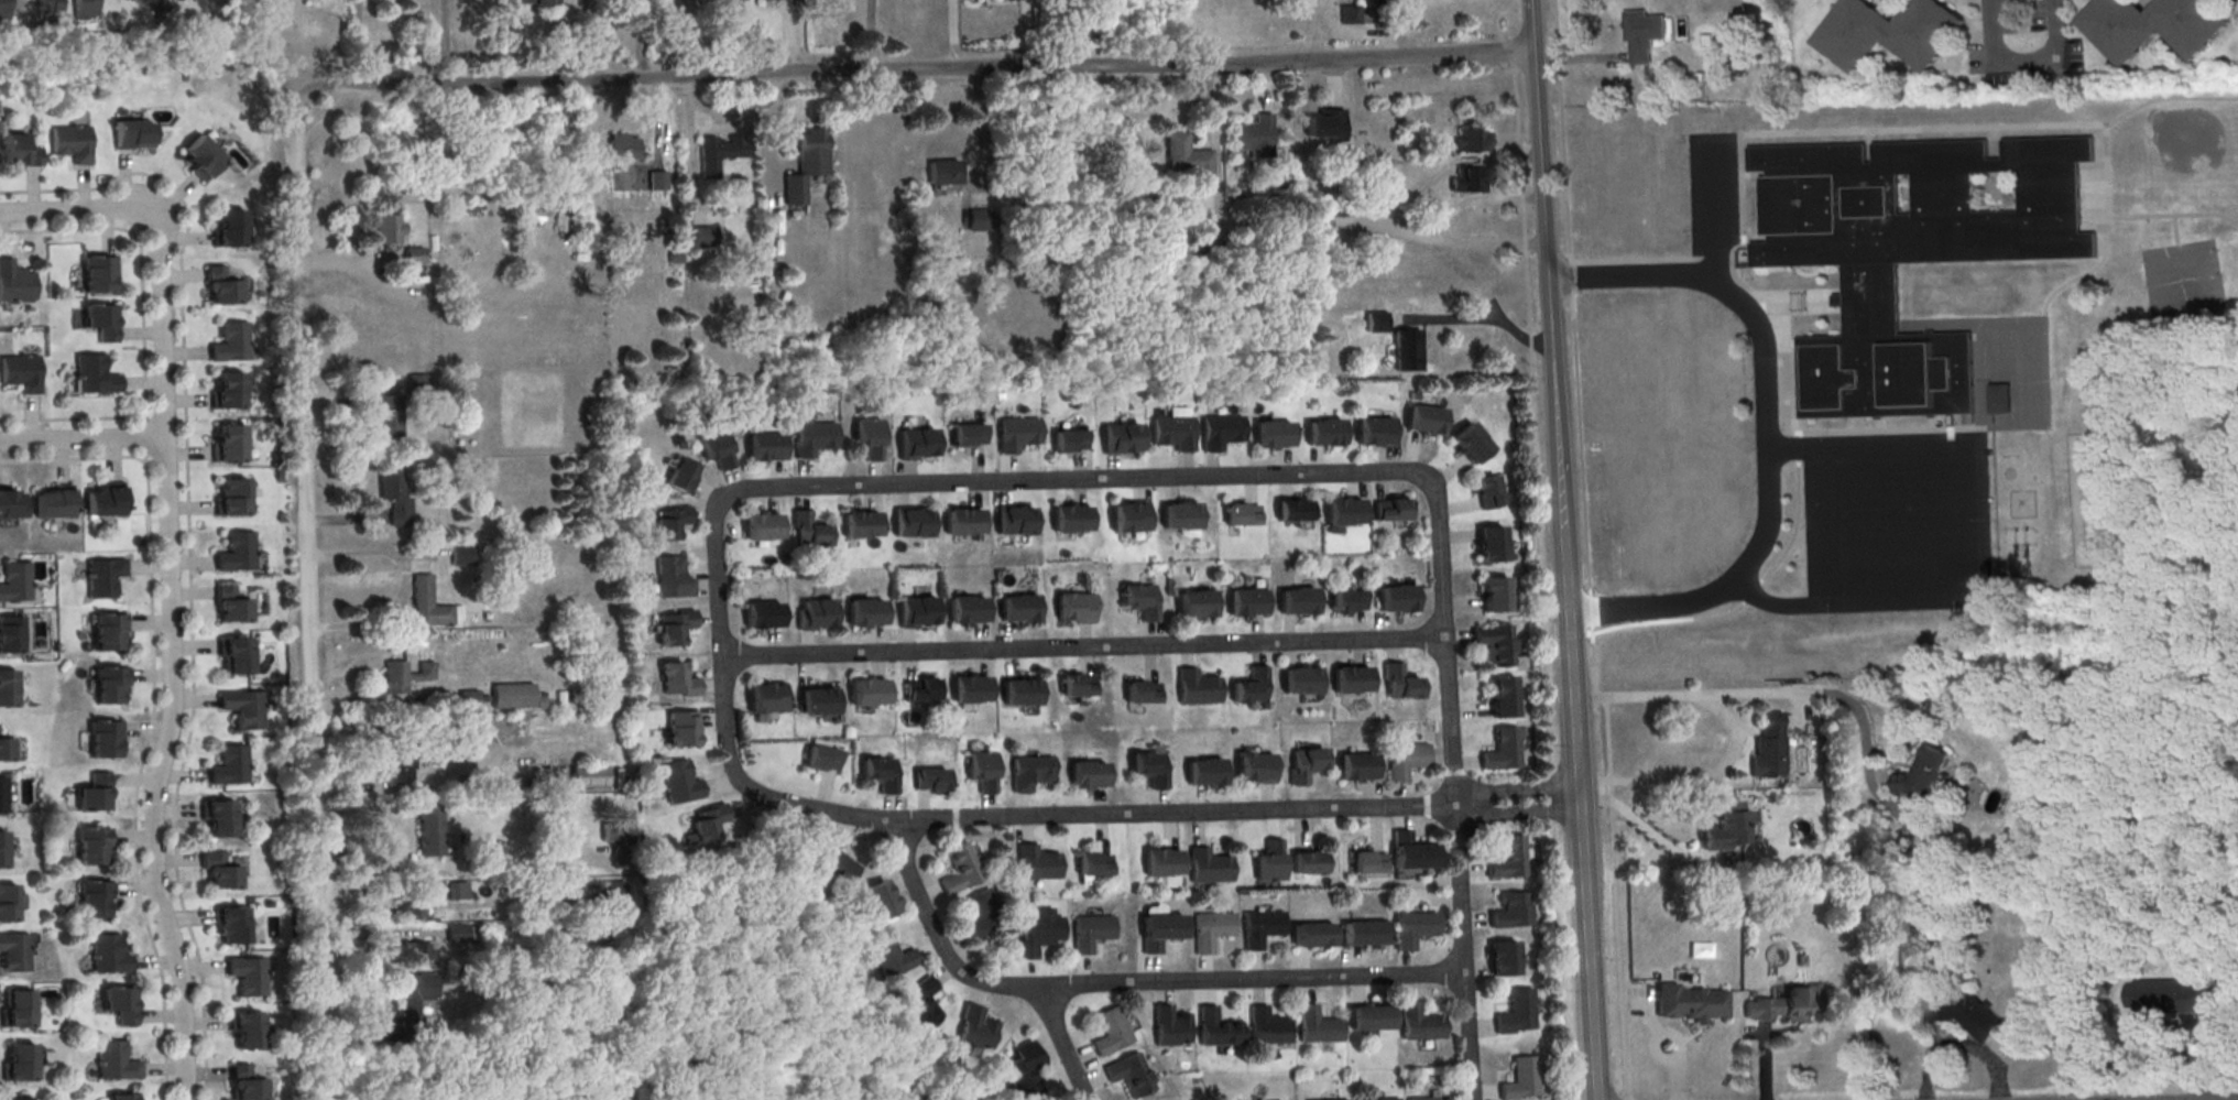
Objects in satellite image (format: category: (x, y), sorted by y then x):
building: (122, 0)
building: (766, 0)
building: (1005, 0)
building: (178, 1)
building: (531, 3)
building: (151, 8)
building: (3, 9)
building: (85, 9)
building: (50, 10)
building: (1350, 15)
building: (2150, 26)
road: (951, 34)
road: (1028, 34)
building: (1888, 34)
road: (788, 35)
road: (870, 35)
building: (1644, 35)
road: (585, 40)
road: (445, 43)
road: (358, 44)
road: (1583, 59)
road: (2022, 65)
road: (916, 68)
road: (2144, 102)
road: (656, 124)
building: (1325, 127)
building: (130, 137)
building: (1253, 138)
road: (976, 140)
building: (1472, 142)
building: (69, 144)
building: (621, 148)
building: (19, 151)
road: (688, 152)
building: (718, 154)
building: (200, 156)
building: (1187, 160)
building: (805, 164)
building: (942, 174)
building: (655, 182)
building: (1469, 183)
road: (1740, 188)
road: (69, 208)
building: (978, 221)
road: (1440, 226)
building: (229, 228)
building: (386, 230)
road: (2109, 237)
building: (701, 238)
building: (1208, 244)
building: (1909, 254)
road: (139, 255)
building: (413, 258)
road: (349, 261)
building: (98, 273)
building: (15, 282)
road: (1724, 286)
building: (219, 288)
building: (100, 320)
road: (1471, 320)
building: (1375, 324)
building: (230, 341)
building: (1406, 352)
building: (20, 371)
building: (94, 374)
building: (416, 386)
building: (227, 390)
road: (1577, 393)
building: (2005, 402)
road: (338, 403)
road: (143, 416)
road: (69, 417)
building: (389, 418)
building: (1423, 422)
building: (1221, 433)
building: (1374, 433)
building: (1172, 434)
road: (164, 435)
building: (1016, 435)
building: (1323, 435)
building: (1271, 436)
building: (967, 437)
road: (1798, 438)
road: (83, 439)
building: (812, 439)
building: (867, 440)
building: (1120, 442)
building: (228, 443)
building: (1068, 443)
building: (1470, 444)
building: (915, 446)
building: (716, 448)
building: (763, 449)
road: (1790, 450)
road: (1799, 451)
road: (144, 457)
building: (679, 478)
road: (1050, 481)
building: (1486, 494)
building: (231, 497)
building: (393, 497)
building: (103, 500)
building: (53, 501)
building: (11, 503)
building: (1390, 509)
building: (1291, 512)
building: (1343, 514)
building: (1240, 516)
road: (1982, 518)
building: (1179, 519)
building: (1128, 521)
road: (345, 522)
building: (1069, 522)
building: (1013, 523)
building: (669, 524)
building: (963, 524)
building: (910, 525)
road: (1813, 525)
building: (860, 526)
building: (761, 530)
road: (1797, 531)
building: (808, 532)
building: (1491, 543)
road: (1566, 549)
building: (236, 552)
road: (189, 554)
building: (461, 556)
road: (1749, 560)
building: (102, 576)
building: (672, 579)
building: (14, 580)
road: (405, 581)
building: (1495, 593)
road: (1753, 596)
road: (303, 597)
building: (1347, 601)
building: (1394, 601)
road: (1653, 602)
building: (1140, 603)
building: (1196, 603)
building: (1296, 603)
building: (1245, 605)
building: (229, 607)
building: (432, 607)
building: (1076, 610)
building: (1018, 611)
building: (967, 612)
building: (916, 614)
building: (865, 616)
building: (814, 617)
building: (762, 618)
road: (1670, 623)
building: (675, 629)
building: (11, 633)
building: (106, 634)
building: (1494, 646)
road: (1081, 647)
road: (173, 652)
building: (236, 658)
building: (394, 679)
building: (677, 683)
building: (1350, 683)
building: (1077, 684)
building: (1299, 684)
building: (1398, 684)
building: (7, 688)
building: (108, 688)
building: (1249, 688)
building: (1196, 689)
building: (970, 691)
building: (919, 693)
building: (867, 695)
building: (1020, 695)
building: (1142, 695)
road: (1783, 695)
building: (511, 698)
building: (1502, 699)
building: (765, 700)
building: (468, 701)
building: (817, 704)
road: (153, 710)
building: (242, 710)
building: (681, 728)
road: (723, 737)
building: (105, 738)
building: (6, 748)
building: (1768, 749)
building: (1500, 752)
building: (822, 758)
building: (401, 759)
building: (1405, 762)
building: (1304, 763)
building: (229, 764)
building: (1149, 769)
building: (982, 770)
building: (1254, 770)
building: (1355, 770)
building: (1029, 774)
road: (1451, 774)
building: (881, 775)
building: (1203, 775)
building: (1924, 775)
building: (588, 777)
building: (1087, 777)
building: (930, 780)
road: (1701, 781)
building: (678, 784)
building: (94, 792)
building: (1, 796)
road: (1244, 810)
building: (218, 820)
building: (702, 824)
building: (1723, 829)
building: (430, 830)
building: (613, 834)
road: (1649, 834)
building: (2, 849)
building: (90, 849)
building: (1409, 856)
building: (1507, 861)
building: (1268, 864)
building: (1366, 864)
building: (1035, 865)
building: (1159, 865)
building: (1306, 865)
building: (832, 868)
building: (1093, 868)
building: (1207, 868)
building: (959, 871)
building: (218, 873)
road: (381, 891)
building: (456, 893)
building: (613, 896)
building: (878, 898)
building: (8, 902)
building: (92, 902)
building: (411, 910)
building: (1510, 913)
building: (981, 915)
building: (230, 928)
building: (1259, 929)
building: (1211, 932)
building: (1412, 932)
building: (1090, 934)
building: (1158, 934)
building: (456, 935)
building: (1037, 935)
road: (935, 936)
building: (1363, 936)
building: (1311, 938)
road: (1617, 941)
building: (14, 951)
building: (416, 954)
building: (103, 956)
building: (892, 956)
building: (1503, 962)
building: (247, 978)
road: (1251, 980)
building: (2179, 1000)
building: (920, 1002)
building: (120, 1004)
building: (413, 1004)
building: (1690, 1005)
building: (18, 1008)
building: (1787, 1008)
building: (1516, 1014)
building: (1961, 1014)
building: (1369, 1021)
building: (1418, 1026)
building: (975, 1028)
building: (1169, 1028)
building: (1266, 1030)
building: (1315, 1030)
building: (1215, 1032)
building: (245, 1033)
building: (1110, 1034)
road: (359, 1035)
building: (2067, 1037)
road: (1959, 1041)
road: (1059, 1043)
road: (1764, 1061)
building: (19, 1063)
building: (113, 1064)
building: (1024, 1070)
building: (1126, 1078)
building: (1520, 1081)
building: (243, 1085)
building: (14, 1098)
building: (1428, 1098)
building: (121, 1099)
building: (1324, 1099)
building: (1377, 1099)

